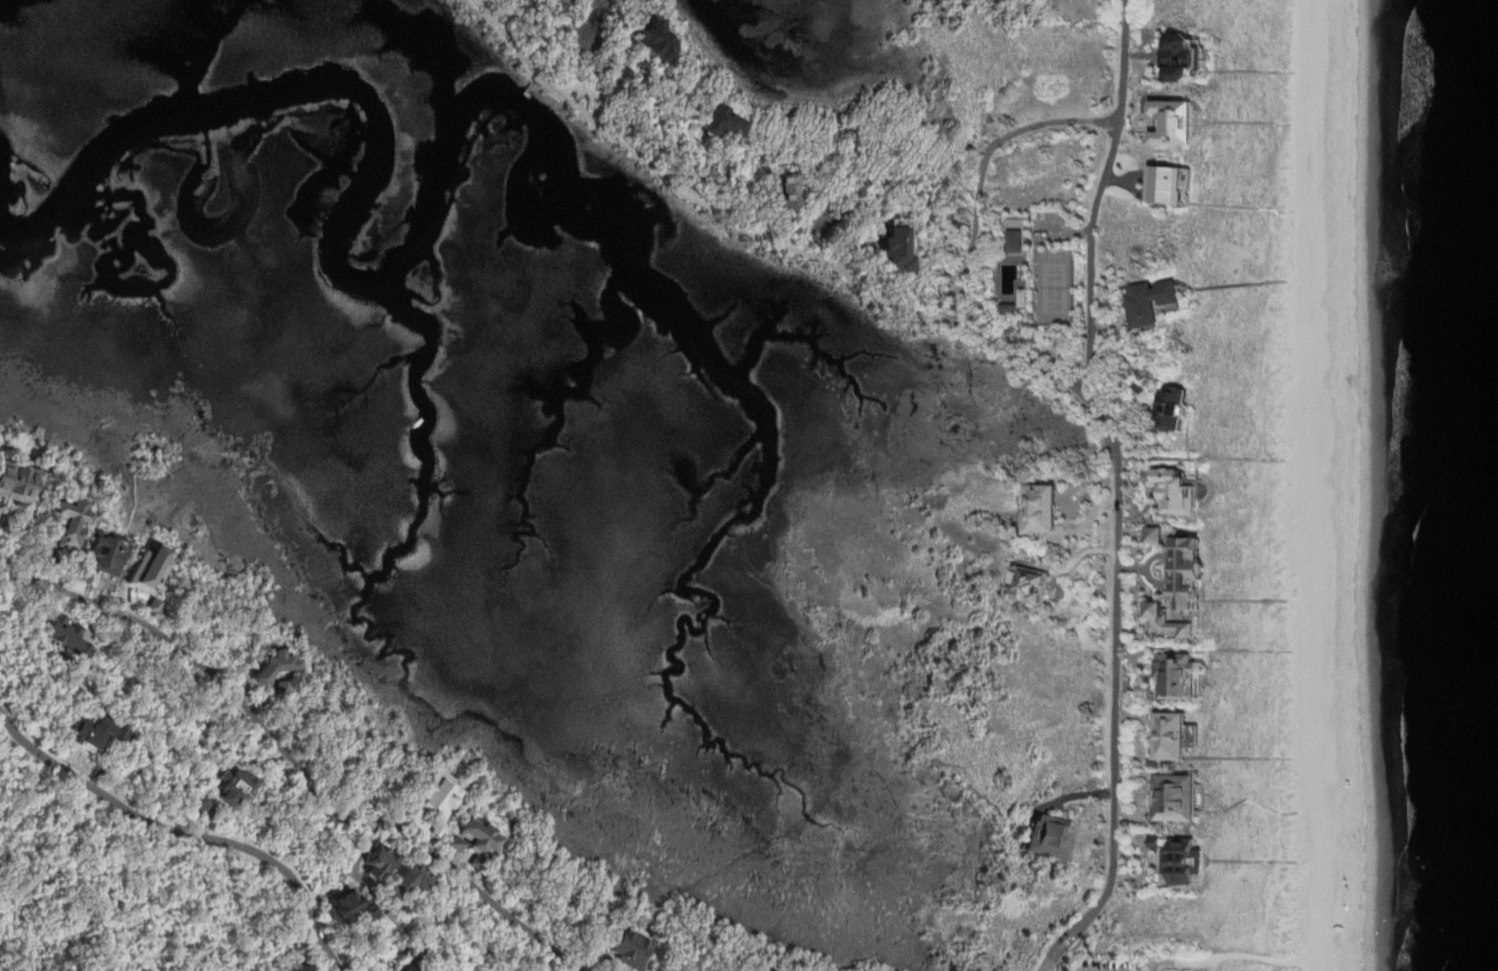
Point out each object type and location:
building: (654, 42)
building: (1182, 58)
building: (720, 123)
road: (983, 167)
building: (1168, 185)
building: (784, 190)
road: (1096, 198)
road: (759, 232)
building: (1015, 241)
building: (894, 248)
building: (1151, 303)
building: (1009, 309)
building: (1172, 409)
building: (20, 485)
building: (1175, 491)
building: (1042, 510)
building: (69, 525)
building: (1136, 535)
building: (1156, 536)
building: (1161, 553)
building: (106, 554)
building: (41, 557)
building: (1188, 572)
building: (84, 580)
building: (1028, 586)
building: (1166, 625)
building: (62, 638)
building: (272, 664)
building: (1176, 674)
building: (282, 686)
road: (1113, 694)
building: (1174, 734)
road: (291, 766)
building: (231, 787)
building: (436, 795)
building: (1174, 796)
building: (200, 801)
building: (409, 812)
building: (436, 832)
road: (184, 833)
building: (480, 836)
building: (1050, 838)
building: (456, 844)
building: (1179, 858)
building: (375, 861)
building: (476, 863)
building: (406, 881)
building: (634, 944)
building: (292, 948)
building: (410, 952)
building: (291, 967)
building: (432, 968)
building: (406, 969)
building: (393, 970)
building: (761, 970)

